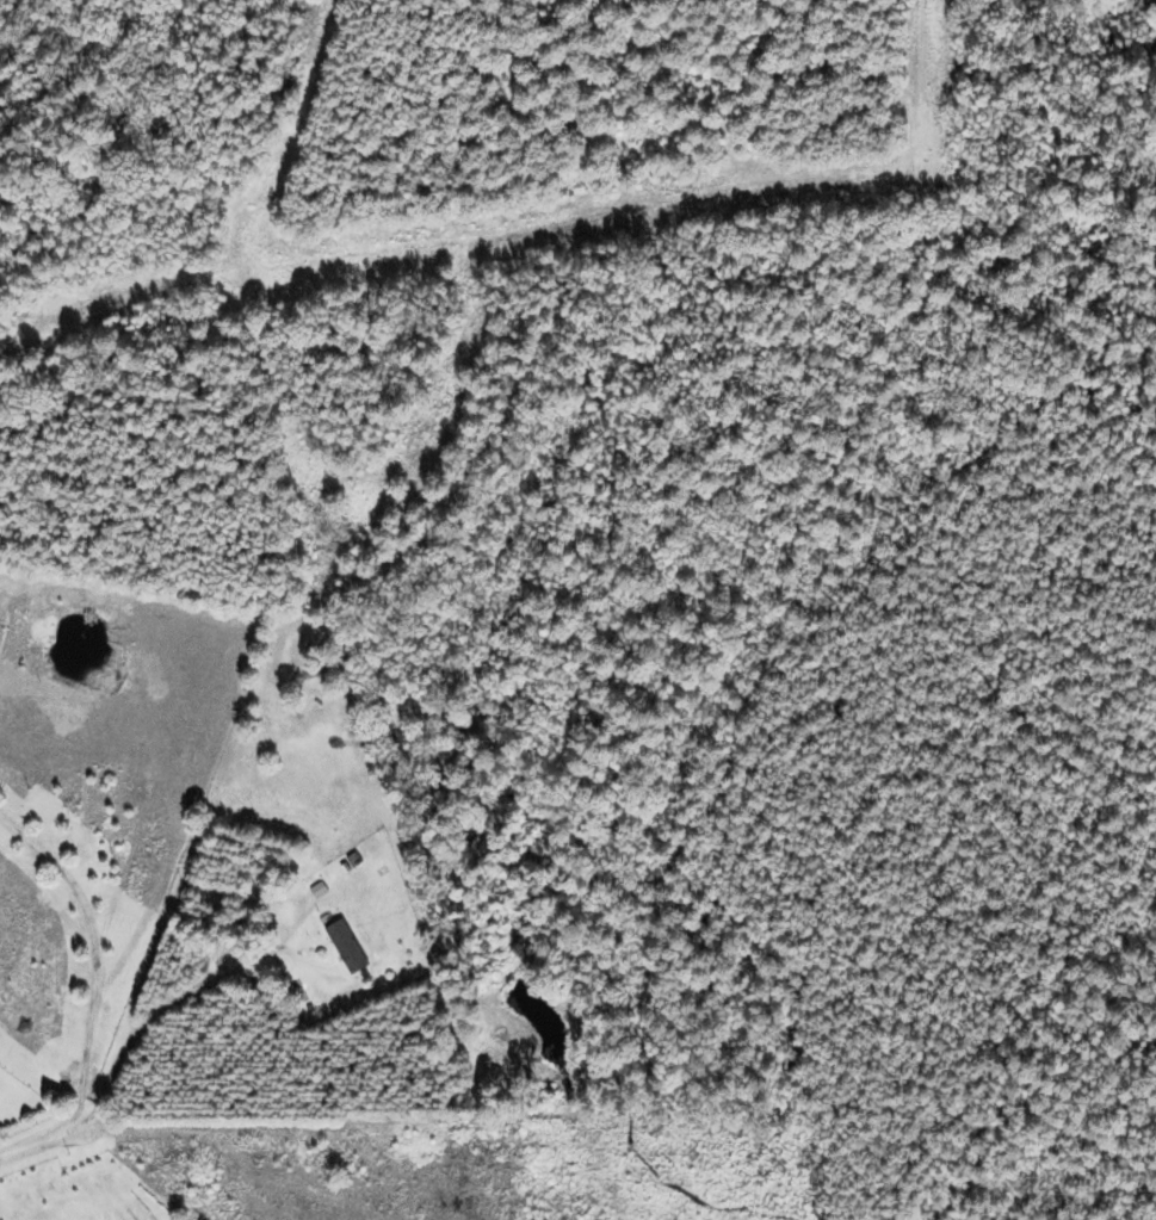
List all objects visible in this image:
building: (321, 677)
building: (351, 947)
road: (92, 953)
road: (154, 1021)
road: (33, 1142)

